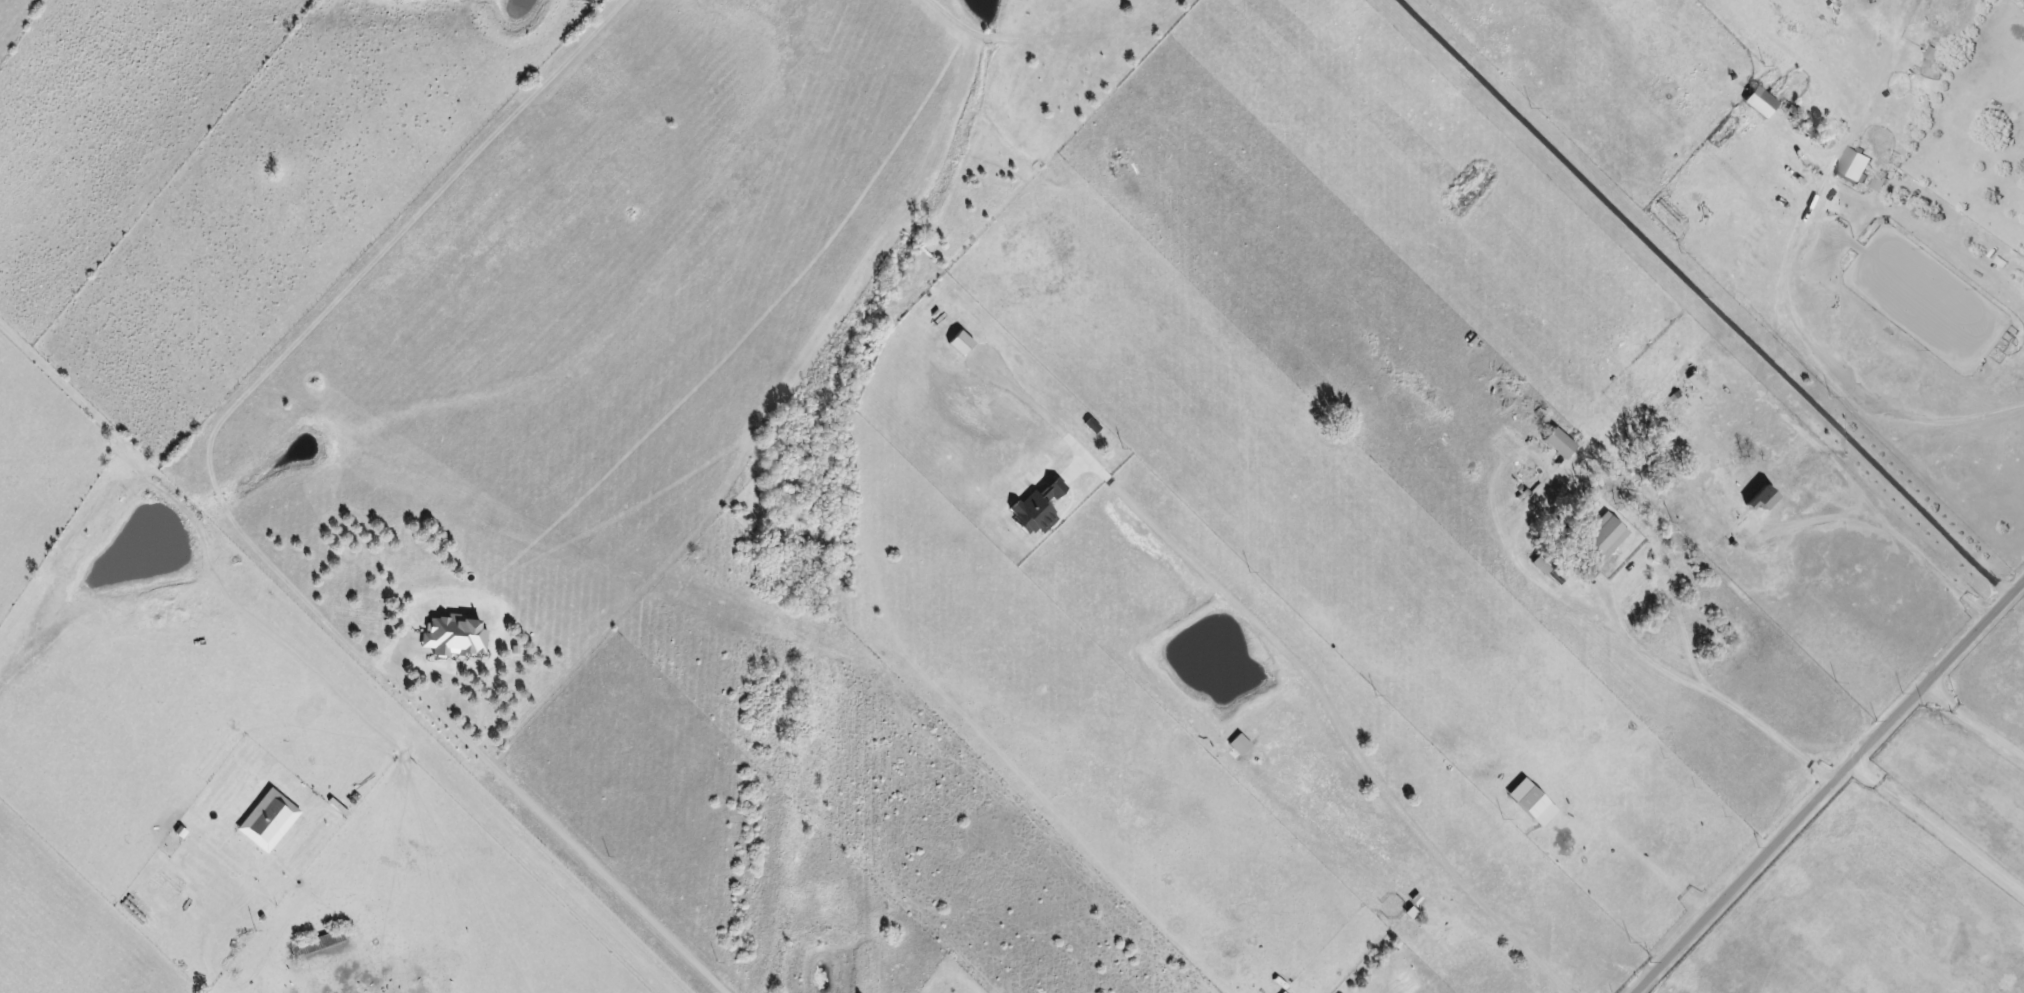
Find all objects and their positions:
building: (1762, 102)
building: (1855, 165)
building: (1880, 182)
road: (1702, 296)
building: (962, 343)
road: (1849, 360)
building: (1697, 381)
building: (1561, 444)
building: (1758, 505)
building: (1039, 509)
road: (1880, 526)
building: (1606, 538)
road: (437, 690)
road: (1704, 693)
road: (1332, 721)
road: (1970, 725)
building: (1241, 745)
road: (1827, 784)
building: (1533, 803)
building: (270, 821)
road: (1935, 831)
road: (593, 874)

